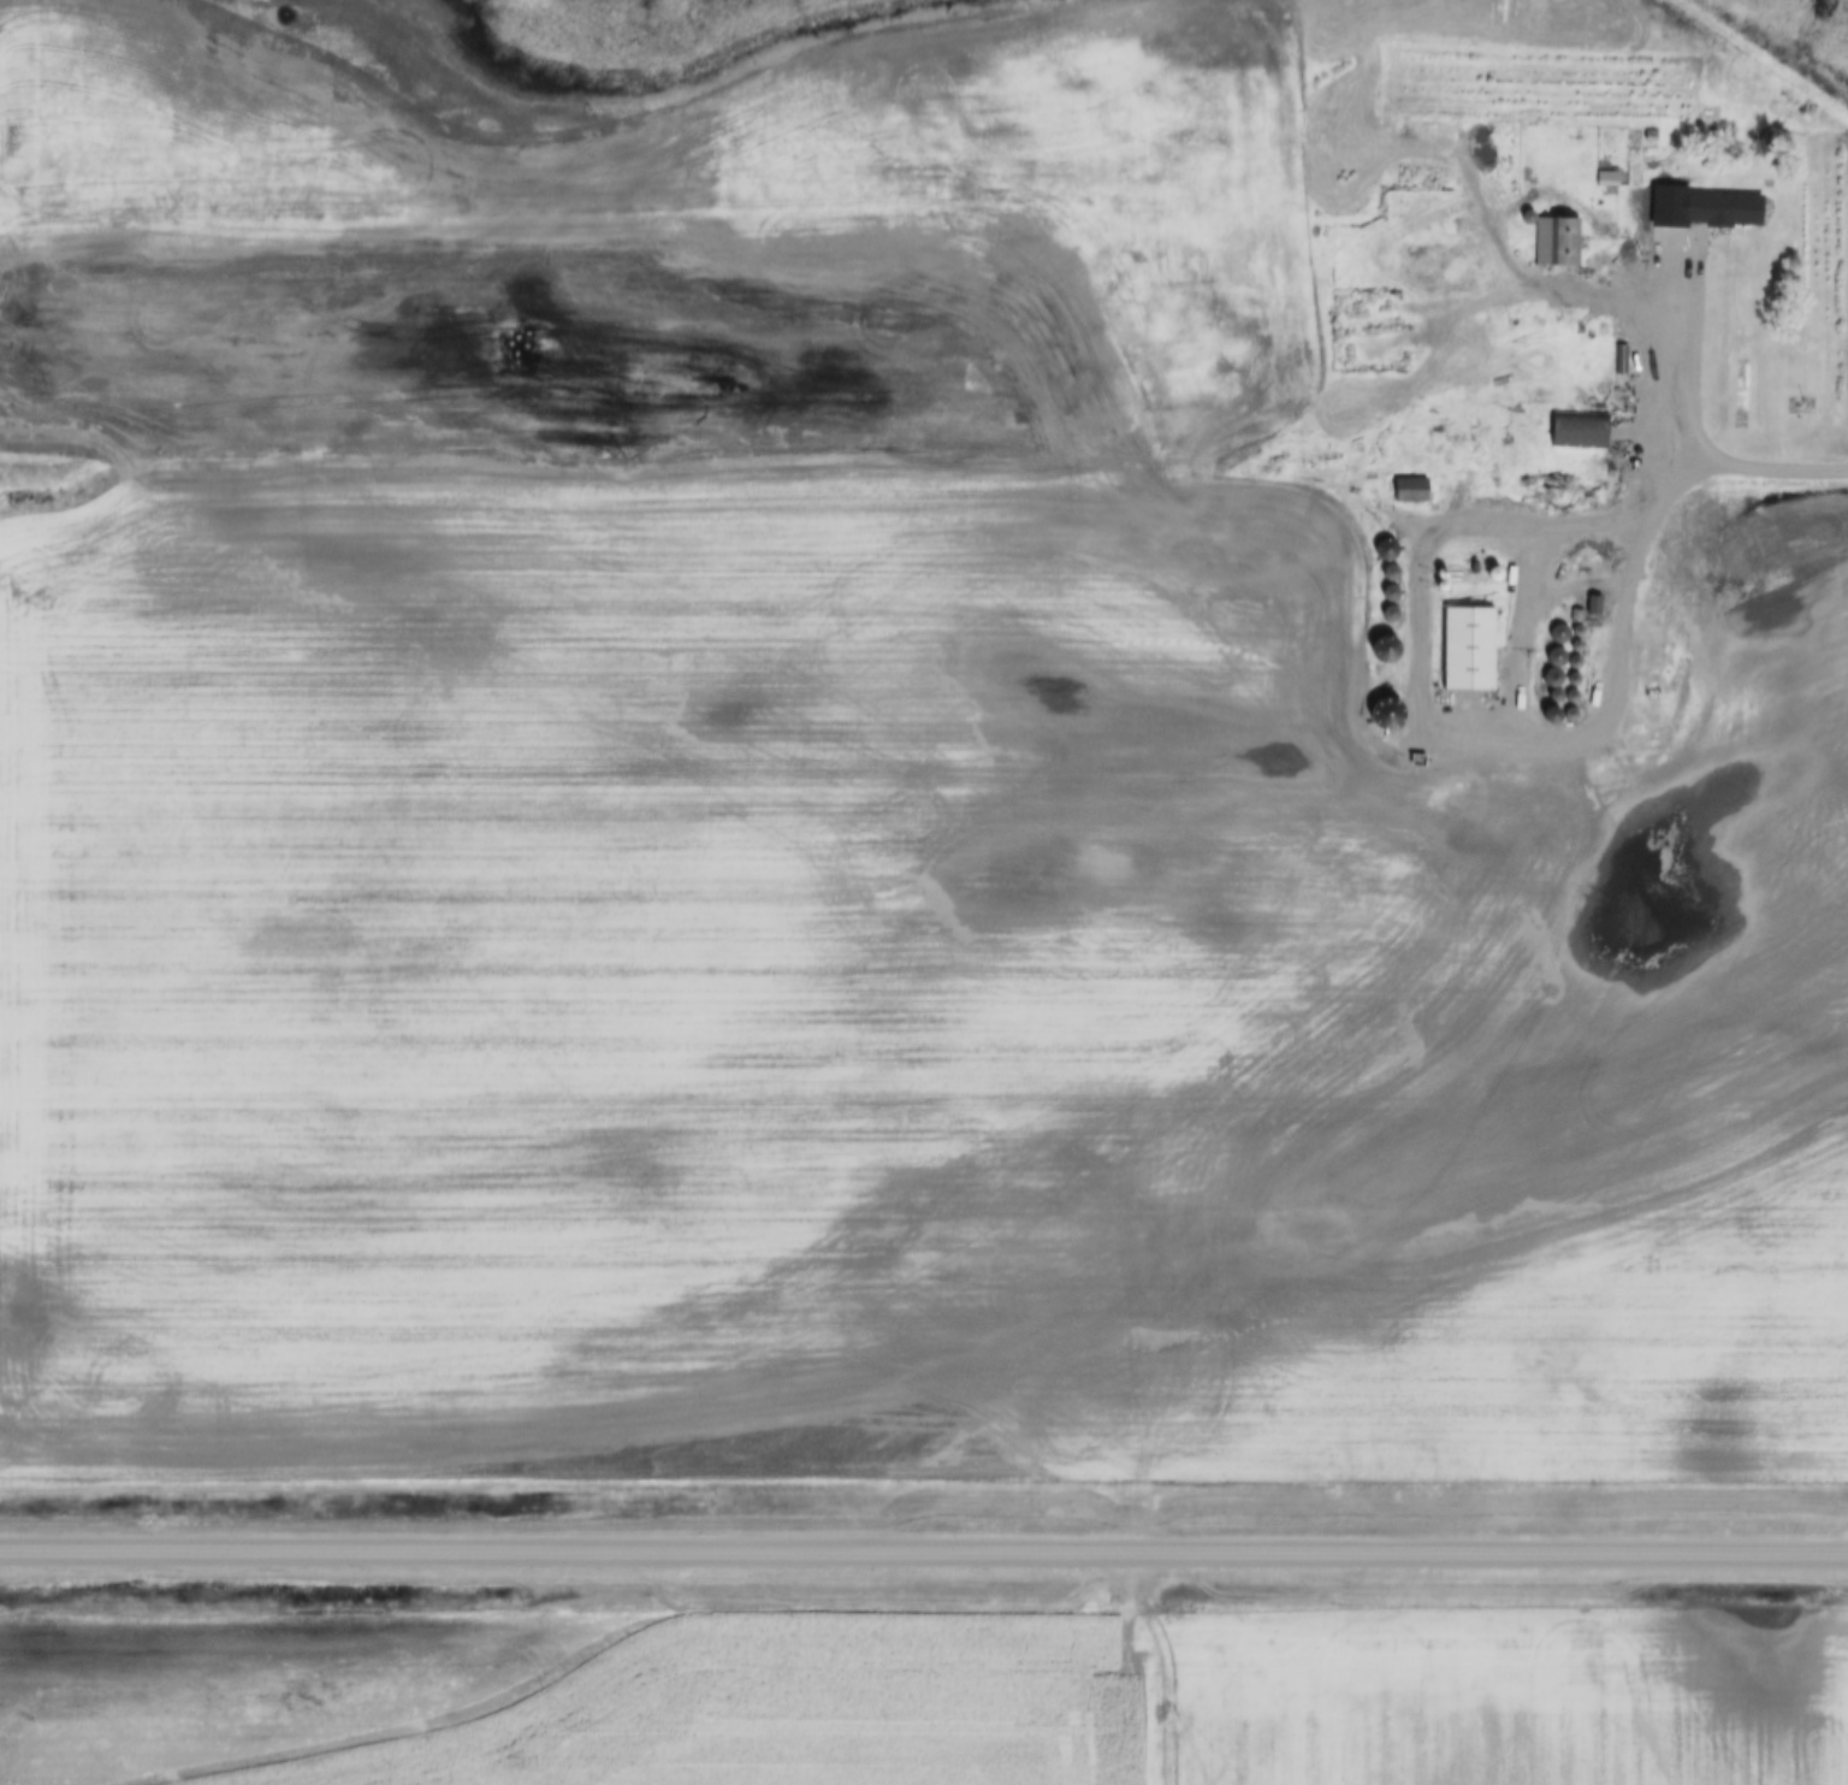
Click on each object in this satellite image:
building: (1609, 181)
building: (1726, 213)
building: (1558, 243)
road: (1527, 297)
road: (1678, 424)
building: (1581, 432)
building: (1412, 491)
building: (1627, 497)
road: (1592, 521)
building: (1393, 551)
building: (1392, 577)
building: (1443, 583)
road: (1572, 583)
building: (1391, 596)
building: (1593, 607)
building: (1391, 616)
road: (1522, 627)
building: (1470, 651)
road: (1512, 735)
road: (924, 1549)

